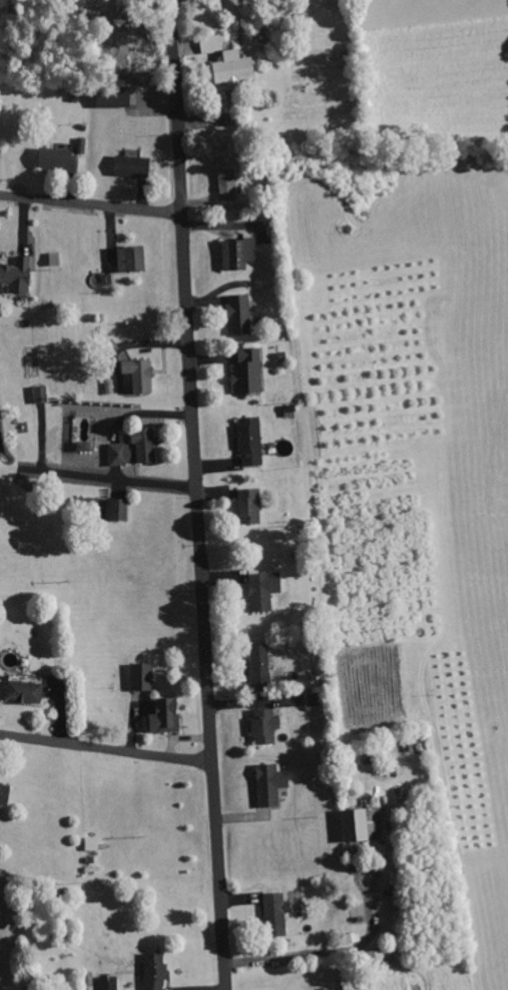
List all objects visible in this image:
building: (114, 95)
building: (56, 157)
building: (133, 164)
building: (228, 184)
road: (91, 204)
building: (238, 253)
building: (132, 258)
building: (17, 274)
building: (241, 314)
building: (248, 371)
building: (140, 373)
building: (41, 393)
building: (251, 441)
building: (85, 446)
building: (136, 448)
road: (113, 480)
road: (198, 495)
building: (250, 505)
building: (119, 509)
building: (265, 590)
building: (261, 664)
building: (142, 677)
building: (25, 691)
building: (166, 716)
building: (265, 725)
road: (107, 749)
building: (271, 784)
building: (4, 793)
building: (361, 824)
building: (93, 844)
building: (277, 913)
building: (380, 957)
building: (155, 971)
building: (109, 982)

